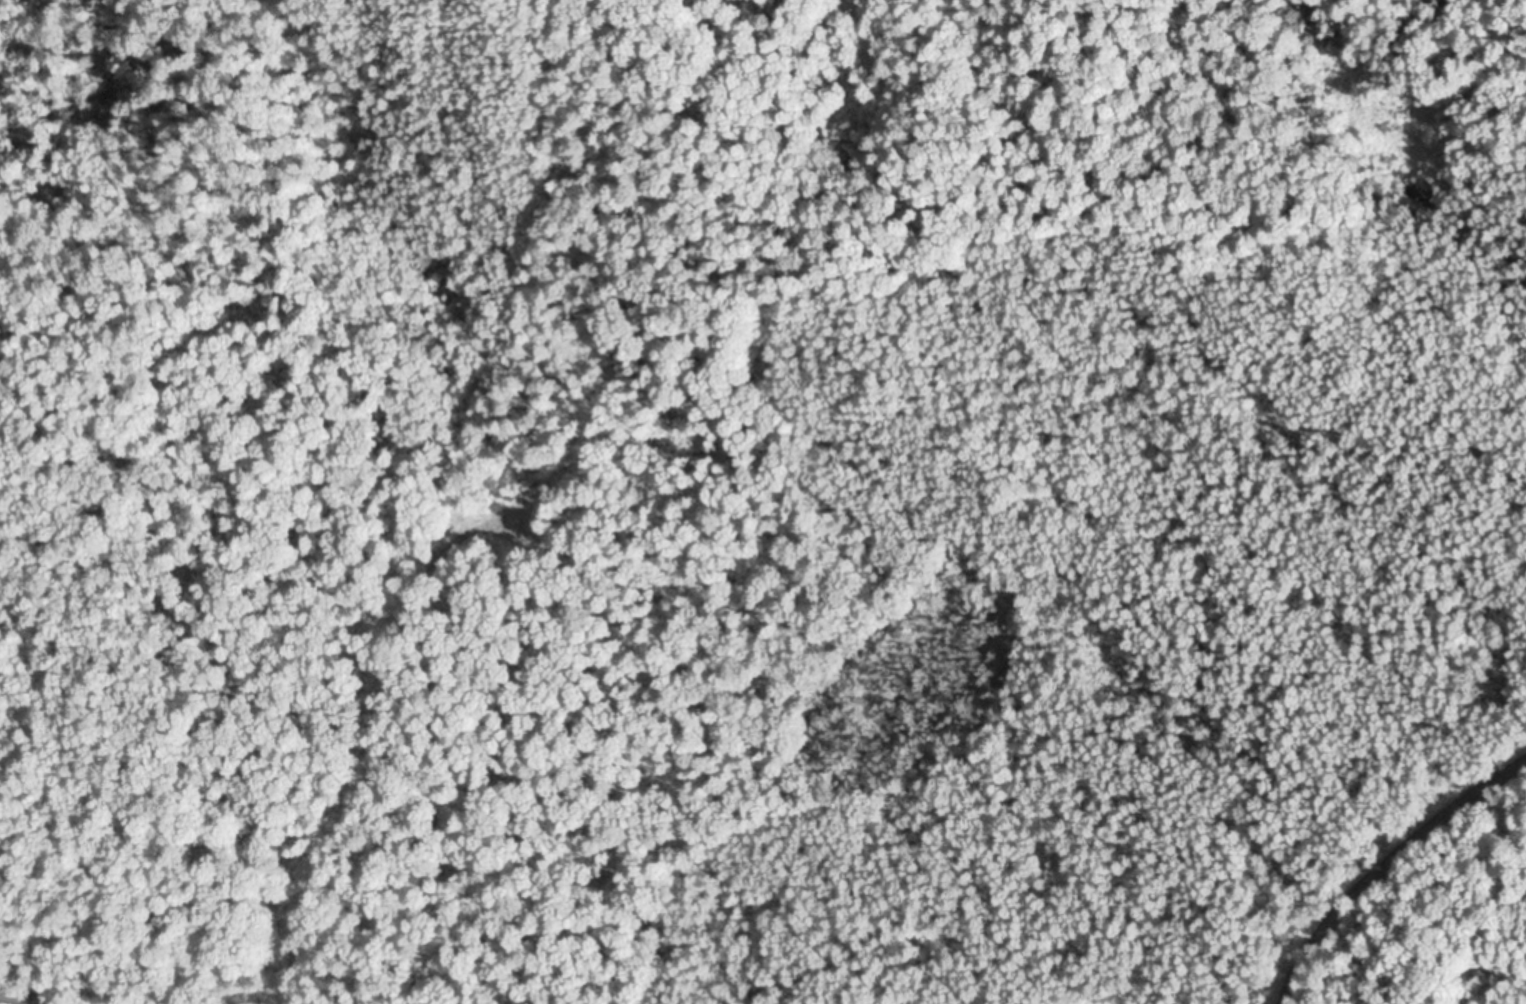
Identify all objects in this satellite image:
road: (1385, 865)
road: (13, 998)

